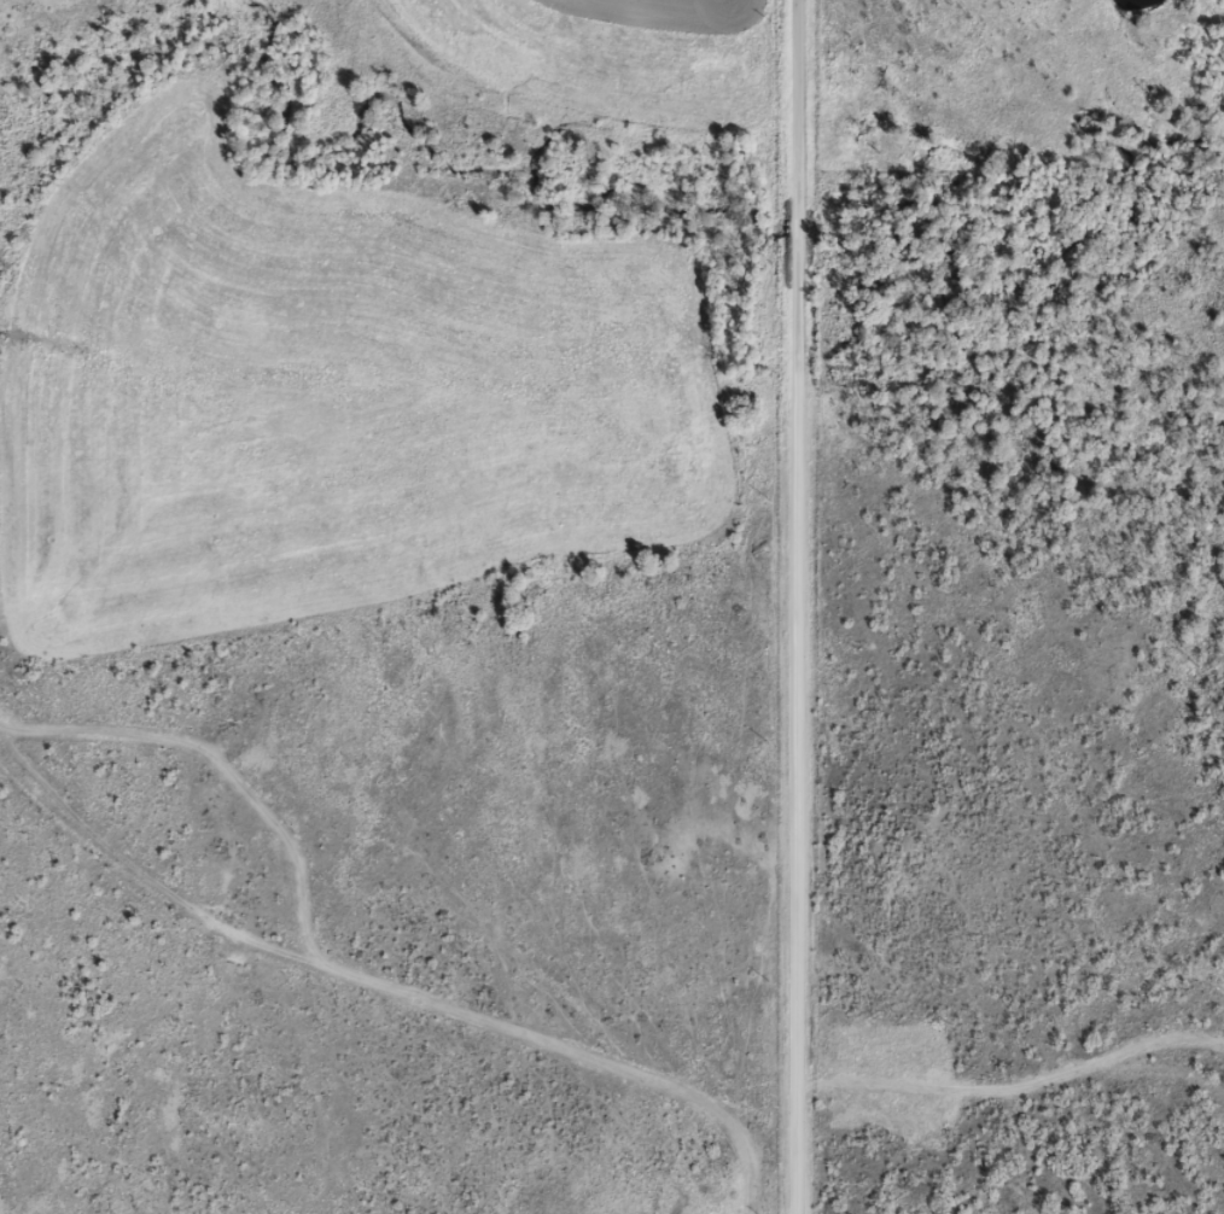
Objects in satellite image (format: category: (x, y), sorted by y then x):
road: (800, 607)
road: (571, 1041)

